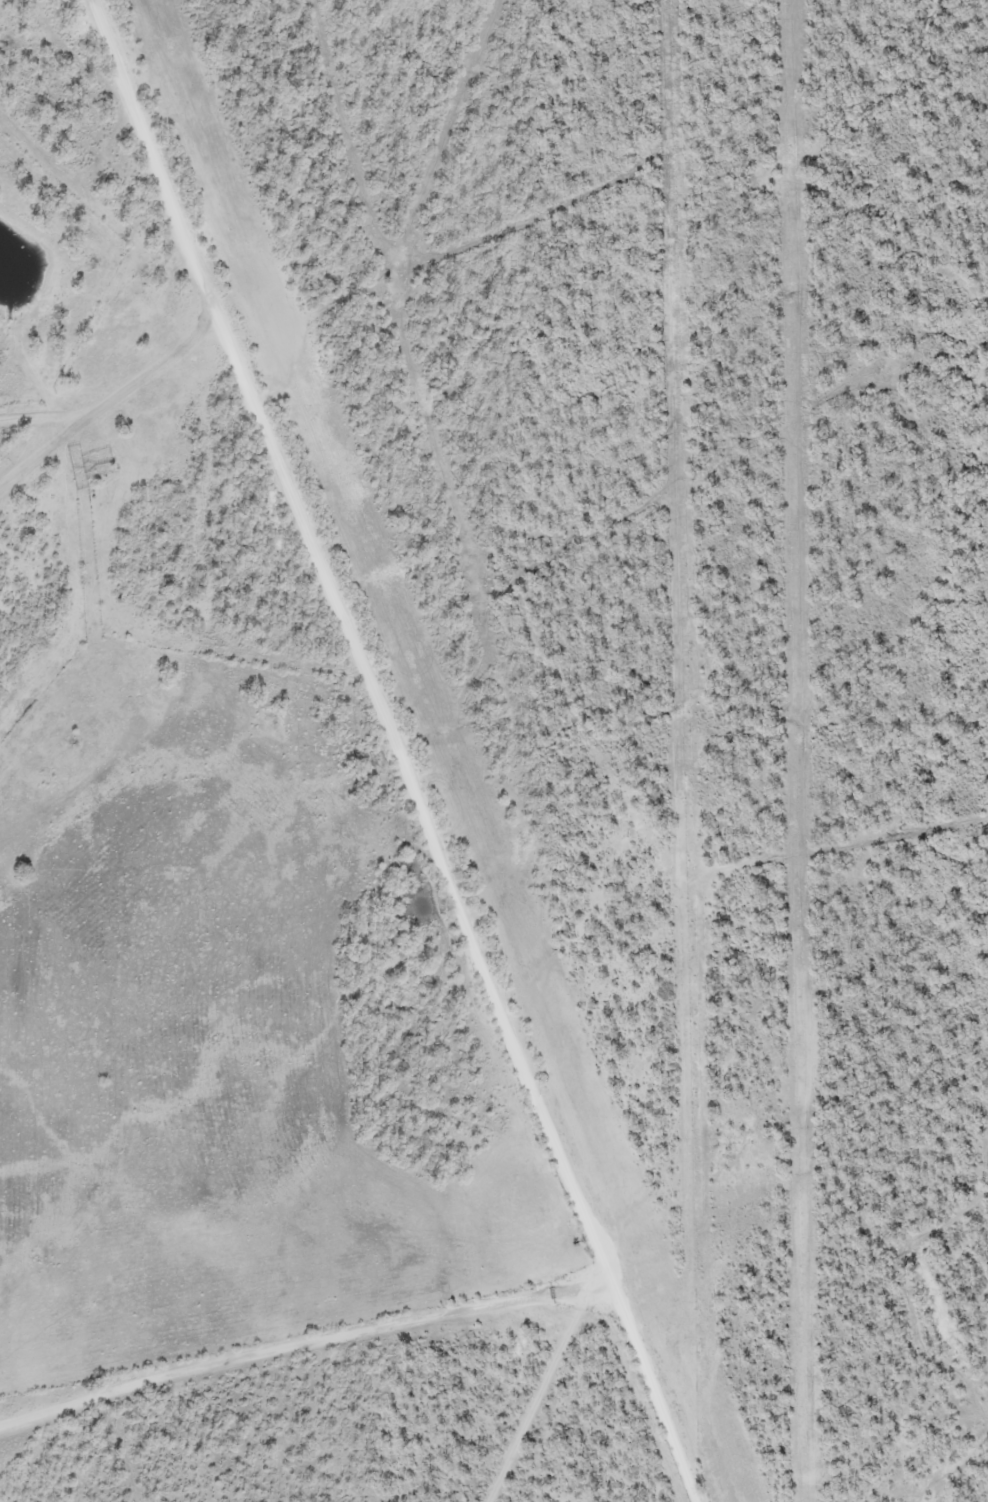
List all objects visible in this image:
road: (394, 751)

